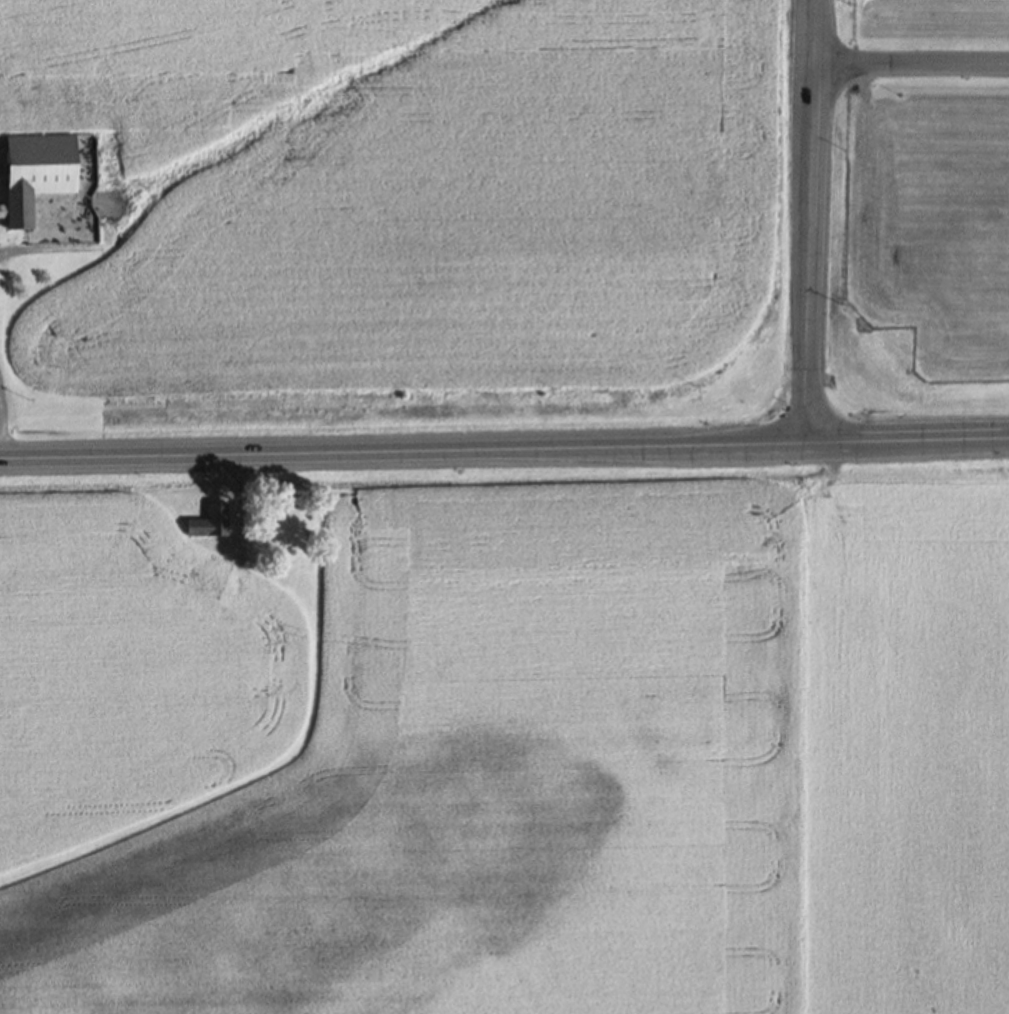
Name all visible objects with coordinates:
road: (908, 69)
building: (33, 180)
road: (804, 222)
road: (504, 452)
building: (205, 528)

